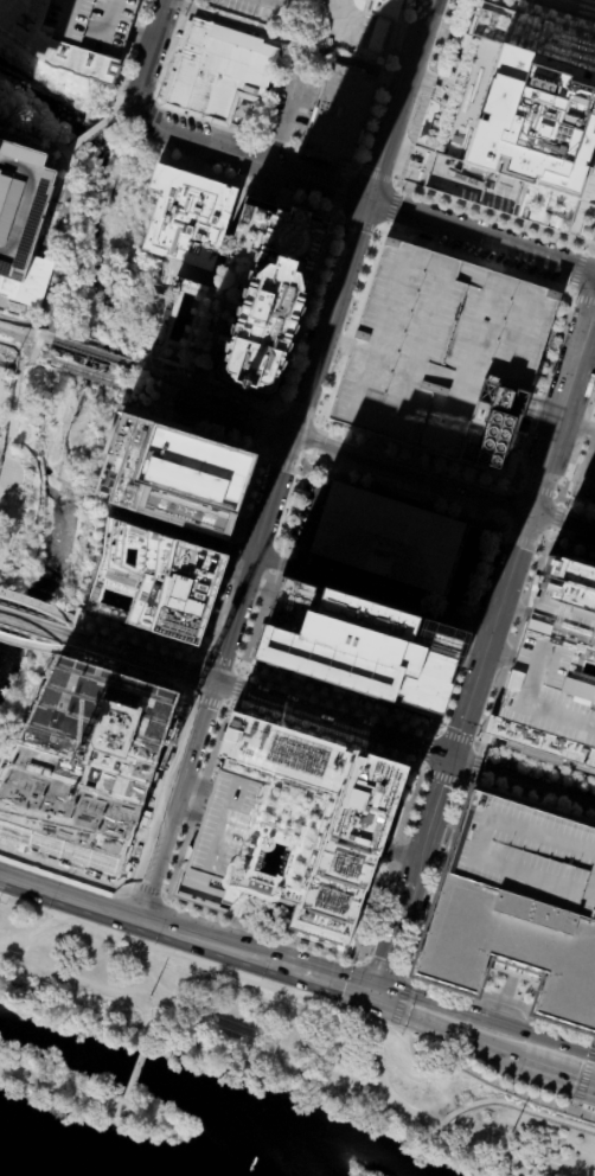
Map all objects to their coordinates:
road: (479, 4)
road: (581, 4)
building: (386, 8)
parking lot: (414, 9)
parking lot: (151, 11)
road: (494, 11)
road: (503, 13)
road: (540, 17)
parking lot: (172, 19)
building: (484, 24)
road: (577, 32)
building: (72, 33)
road: (142, 36)
road: (286, 41)
road: (536, 47)
road: (151, 52)
road: (571, 53)
parking lot: (159, 60)
road: (593, 60)
building: (217, 69)
road: (431, 78)
road: (379, 83)
building: (442, 87)
road: (427, 89)
road: (427, 91)
road: (398, 98)
road: (155, 102)
road: (139, 107)
road: (121, 110)
road: (174, 110)
building: (340, 111)
road: (116, 114)
parking lot: (379, 120)
building: (535, 121)
road: (126, 123)
parking lot: (187, 123)
road: (92, 133)
building: (359, 136)
parking lot: (174, 148)
road: (69, 151)
building: (353, 153)
building: (319, 155)
road: (319, 156)
road: (249, 159)
road: (194, 160)
parking lot: (316, 162)
road: (346, 166)
parking lot: (229, 167)
road: (347, 171)
road: (373, 174)
road: (261, 181)
road: (395, 181)
road: (398, 187)
road: (587, 187)
road: (339, 190)
parking lot: (302, 191)
parking lot: (316, 196)
road: (286, 197)
road: (392, 206)
road: (334, 209)
building: (187, 216)
building: (23, 217)
road: (339, 217)
road: (495, 217)
road: (70, 222)
road: (575, 222)
road: (358, 223)
road: (386, 226)
parking lot: (498, 229)
road: (378, 230)
road: (481, 236)
road: (570, 236)
road: (586, 239)
parking lot: (478, 249)
road: (586, 250)
road: (478, 260)
road: (593, 267)
road: (577, 270)
building: (1, 276)
road: (389, 286)
road: (569, 288)
building: (8, 295)
building: (244, 296)
road: (575, 298)
parking lot: (320, 299)
road: (586, 299)
road: (306, 311)
road: (526, 311)
road: (52, 313)
road: (328, 318)
road: (352, 322)
road: (25, 333)
road: (47, 335)
road: (335, 341)
road: (37, 343)
road: (92, 353)
building: (442, 354)
parking lot: (442, 354)
road: (25, 362)
road: (462, 362)
road: (136, 367)
railway: (83, 370)
road: (167, 377)
building: (216, 377)
road: (159, 378)
building: (327, 381)
power substation: (4, 383)
road: (192, 383)
road: (165, 384)
road: (207, 385)
building: (245, 385)
road: (544, 386)
park: (158, 389)
road: (168, 389)
road: (238, 391)
road: (146, 395)
road: (161, 395)
parking lot: (237, 400)
road: (544, 401)
road: (279, 404)
road: (269, 408)
road: (296, 410)
road: (561, 411)
road: (539, 414)
road: (318, 417)
road: (321, 424)
road: (264, 428)
road: (190, 429)
road: (8, 443)
road: (314, 445)
road: (257, 448)
road: (417, 452)
road: (260, 454)
road: (386, 454)
road: (358, 456)
road: (280, 460)
road: (308, 464)
road: (332, 464)
road: (300, 467)
road: (21, 472)
building: (178, 475)
road: (4, 481)
road: (536, 490)
street lamp: (2, 493)
road: (269, 497)
road: (402, 498)
parking lot: (280, 506)
road: (314, 510)
road: (554, 517)
road: (245, 524)
road: (562, 524)
road: (504, 531)
road: (544, 532)
building: (385, 536)
parking lot: (580, 538)
road: (1, 548)
road: (570, 554)
road: (462, 557)
parking lot: (467, 568)
road: (235, 569)
road: (271, 571)
road: (485, 574)
road: (311, 576)
building: (154, 582)
road: (257, 587)
road: (37, 605)
parking lot: (219, 613)
road: (210, 618)
road: (232, 619)
road: (466, 622)
road: (37, 626)
parking lot: (241, 626)
road: (463, 639)
road: (32, 645)
parking lot: (132, 646)
building: (356, 646)
road: (513, 646)
road: (460, 652)
road: (200, 654)
road: (468, 654)
road: (190, 657)
road: (143, 659)
road: (217, 659)
road: (238, 666)
road: (122, 667)
building: (556, 670)
road: (185, 671)
road: (180, 684)
road: (235, 689)
road: (179, 692)
road: (204, 701)
road: (467, 704)
road: (228, 708)
road: (372, 711)
road: (33, 718)
road: (331, 720)
road: (437, 730)
road: (431, 734)
road: (456, 736)
road: (325, 737)
road: (479, 743)
road: (427, 749)
road: (480, 749)
traffic signals: (450, 758)
building: (85, 763)
road: (537, 763)
road: (475, 765)
road: (421, 769)
road: (444, 778)
road: (471, 780)
road: (522, 780)
road: (194, 784)
road: (465, 784)
road: (151, 787)
road: (174, 797)
road: (197, 801)
road: (531, 801)
road: (184, 813)
building: (287, 825)
road: (396, 852)
road: (63, 865)
road: (391, 865)
road: (437, 877)
road: (143, 888)
road: (384, 888)
road: (68, 889)
parking lot: (422, 906)
building: (518, 906)
parking lot: (385, 922)
road: (168, 925)
road: (258, 928)
road: (389, 944)
road: (183, 959)
road: (363, 960)
road: (357, 963)
road: (288, 965)
road: (383, 966)
road: (403, 972)
road: (152, 977)
road: (408, 982)
traffic signals: (375, 993)
power tower: (147, 997)
road: (388, 998)
road: (499, 998)
road: (401, 1005)
road: (497, 1005)
road: (449, 1008)
road: (379, 1024)
road: (392, 1028)
road: (456, 1030)
road: (149, 1037)
road: (545, 1037)
road: (188, 1047)
park: (293, 1047)
road: (378, 1060)
road: (555, 1066)
road: (136, 1069)
road: (586, 1072)
road: (490, 1081)
road: (348, 1084)
road: (65, 1092)
park: (89, 1098)
road: (513, 1104)
road: (574, 1106)
road: (128, 1111)
road: (155, 1119)
power tower: (510, 1132)

